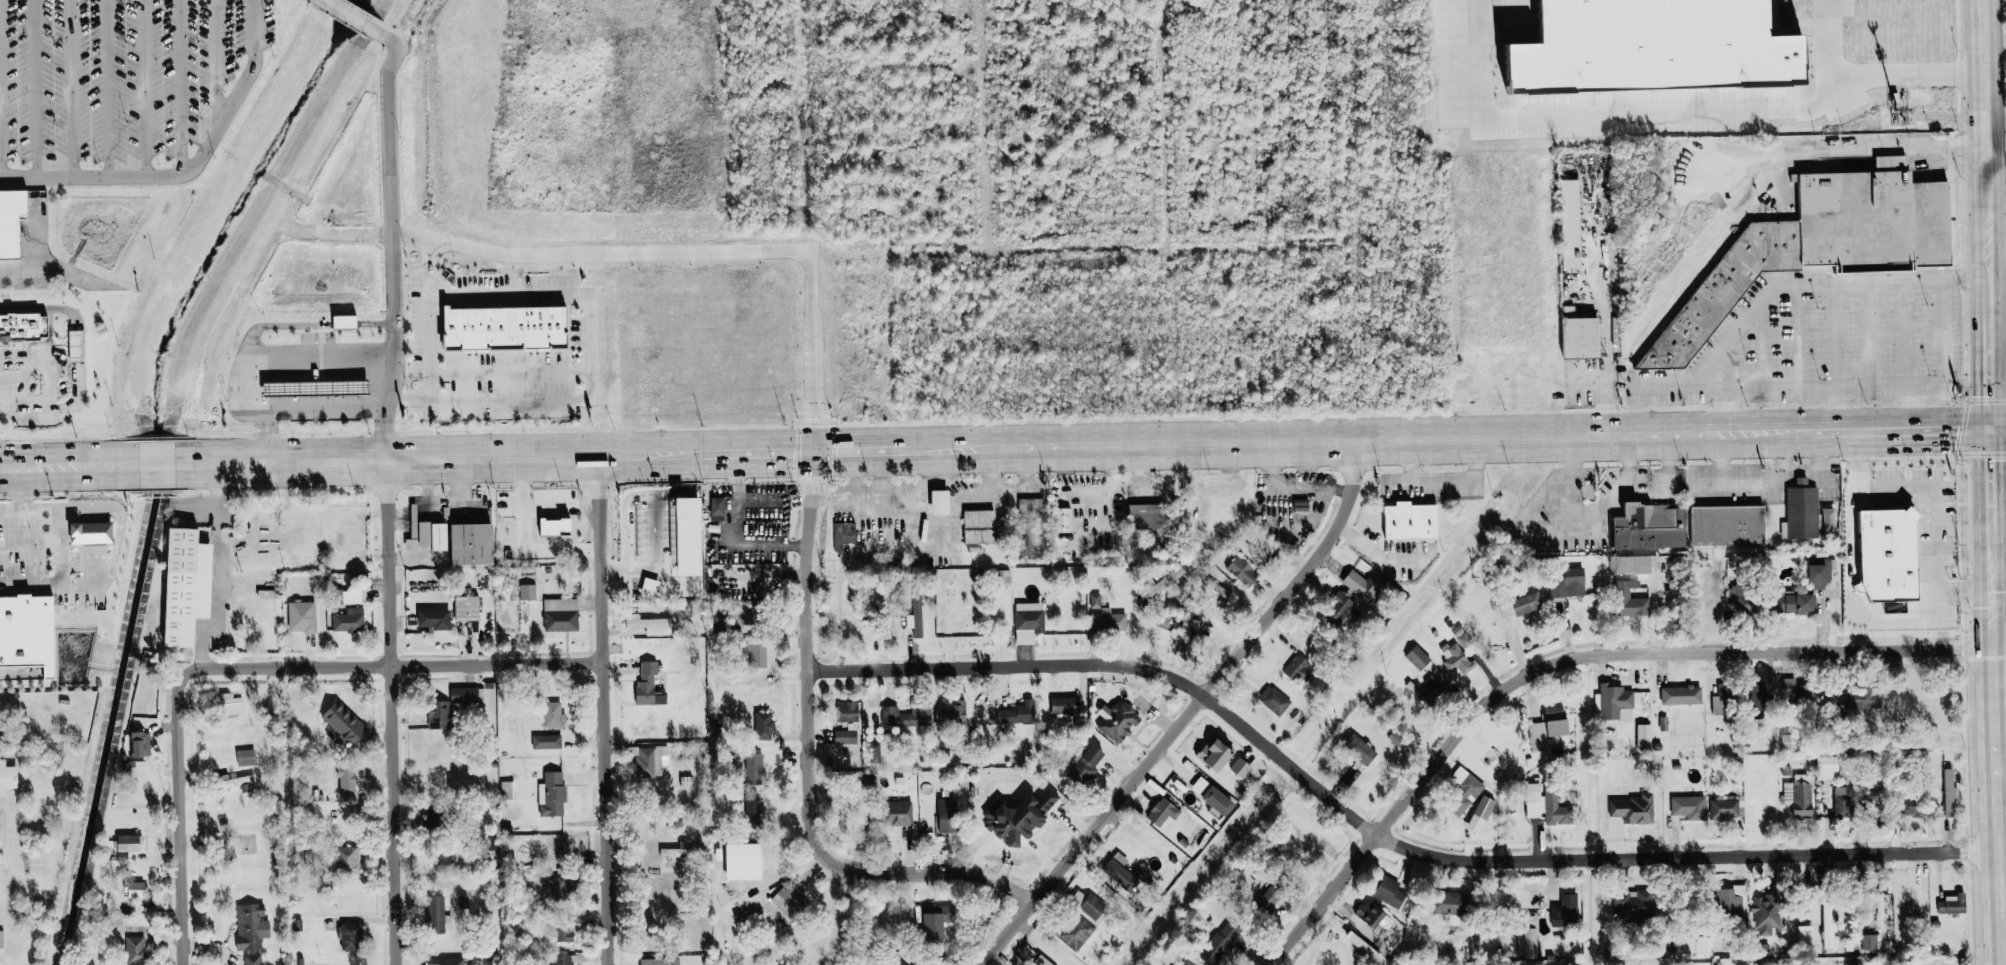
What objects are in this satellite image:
road: (353, 17)
building: (1638, 57)
road: (209, 62)
road: (1872, 75)
parking lot: (122, 79)
road: (66, 85)
road: (104, 85)
road: (139, 85)
road: (175, 85)
road: (30, 86)
road: (1632, 116)
road: (1981, 125)
road: (384, 129)
road: (1859, 145)
road: (1994, 160)
road: (184, 167)
road: (1995, 215)
building: (12, 222)
building: (1565, 223)
building: (1814, 244)
road: (1995, 249)
road: (577, 250)
road: (1985, 262)
road: (426, 264)
road: (1591, 275)
road: (1768, 293)
road: (1986, 300)
road: (583, 309)
building: (347, 321)
building: (23, 327)
building: (507, 328)
road: (1909, 329)
road: (1870, 330)
road: (1799, 331)
road: (1835, 331)
building: (1574, 337)
building: (75, 346)
road: (256, 349)
road: (505, 368)
road: (1988, 376)
building: (314, 377)
road: (1590, 379)
road: (1868, 381)
road: (49, 384)
building: (315, 391)
gas station: (315, 391)
road: (1609, 393)
road: (1911, 405)
road: (1837, 406)
road: (1723, 407)
road: (322, 409)
road: (1997, 427)
road: (1483, 437)
road: (943, 449)
road: (859, 450)
road: (752, 452)
road: (646, 453)
road: (1720, 456)
road: (394, 460)
road: (154, 464)
road: (47, 465)
road: (97, 465)
road: (10, 466)
road: (1801, 478)
road: (1998, 486)
road: (21, 487)
road: (1899, 487)
building: (942, 502)
building: (1030, 506)
road: (1991, 507)
road: (10, 509)
building: (717, 509)
building: (1799, 511)
road: (117, 512)
building: (1142, 515)
road: (925, 519)
building: (1406, 522)
building: (1721, 524)
building: (1644, 525)
building: (556, 527)
building: (981, 527)
building: (92, 532)
building: (435, 535)
building: (843, 535)
road: (29, 545)
building: (474, 545)
road: (1374, 553)
building: (1878, 555)
road: (59, 556)
building: (1630, 564)
road: (224, 567)
building: (1238, 570)
building: (1815, 572)
building: (1570, 581)
road: (84, 582)
building: (1159, 583)
building: (190, 586)
building: (1355, 587)
building: (1552, 588)
road: (1945, 588)
building: (527, 592)
building: (352, 596)
building: (1094, 600)
building: (1625, 601)
building: (1785, 601)
building: (1517, 606)
building: (467, 608)
building: (560, 614)
building: (303, 617)
building: (349, 620)
building: (434, 620)
building: (912, 620)
building: (1028, 621)
building: (1108, 621)
building: (651, 624)
building: (1184, 630)
building: (28, 632)
road: (2001, 651)
building: (760, 652)
building: (1413, 656)
road: (1566, 657)
building: (1452, 658)
road: (391, 664)
building: (1294, 668)
building: (649, 684)
building: (1786, 688)
building: (464, 694)
building: (1677, 695)
building: (1271, 699)
building: (1850, 701)
building: (1611, 703)
building: (230, 704)
building: (1716, 704)
building: (1065, 709)
road: (603, 710)
building: (957, 711)
road: (1187, 711)
road: (391, 712)
building: (1018, 713)
building: (438, 714)
building: (553, 714)
building: (909, 715)
building: (1117, 720)
building: (848, 723)
building: (764, 725)
building: (344, 726)
building: (1542, 730)
building: (1640, 737)
building: (546, 741)
building: (137, 743)
building: (1355, 749)
building: (1217, 752)
building: (245, 757)
building: (651, 760)
building: (1086, 764)
road: (807, 765)
building: (1241, 766)
building: (754, 767)
building: (1823, 767)
building: (8, 776)
road: (1997, 776)
building: (347, 780)
building: (236, 781)
building: (507, 788)
building: (1460, 791)
building: (1944, 792)
building: (552, 793)
building: (833, 794)
building: (1213, 795)
building: (1795, 796)
building: (1905, 803)
building: (751, 804)
building: (1539, 804)
building: (1685, 806)
building: (1720, 808)
building: (1629, 809)
building: (1163, 810)
building: (899, 812)
building: (1021, 814)
building: (1476, 814)
building: (949, 815)
road: (177, 818)
road: (1376, 836)
building: (130, 842)
building: (674, 852)
building: (347, 859)
building: (745, 860)
building: (1119, 872)
building: (136, 887)
building: (562, 887)
building: (1389, 891)
building: (1268, 898)
building: (789, 899)
building: (1440, 902)
building: (1629, 903)
building: (1947, 904)
building: (1723, 905)
building: (1565, 906)
building: (1863, 906)
building: (1094, 907)
building: (436, 914)
building: (1763, 914)
building: (1375, 916)
building: (935, 920)
building: (250, 925)
building: (562, 929)
building: (1075, 931)
building: (349, 936)
building: (1, 939)
building: (1526, 941)
building: (1868, 941)
building: (1218, 942)
building: (136, 950)
building: (252, 959)
building: (449, 961)
building: (659, 961)
building: (1041, 961)
building: (899, 963)
building: (1185, 963)
building: (1910, 963)

